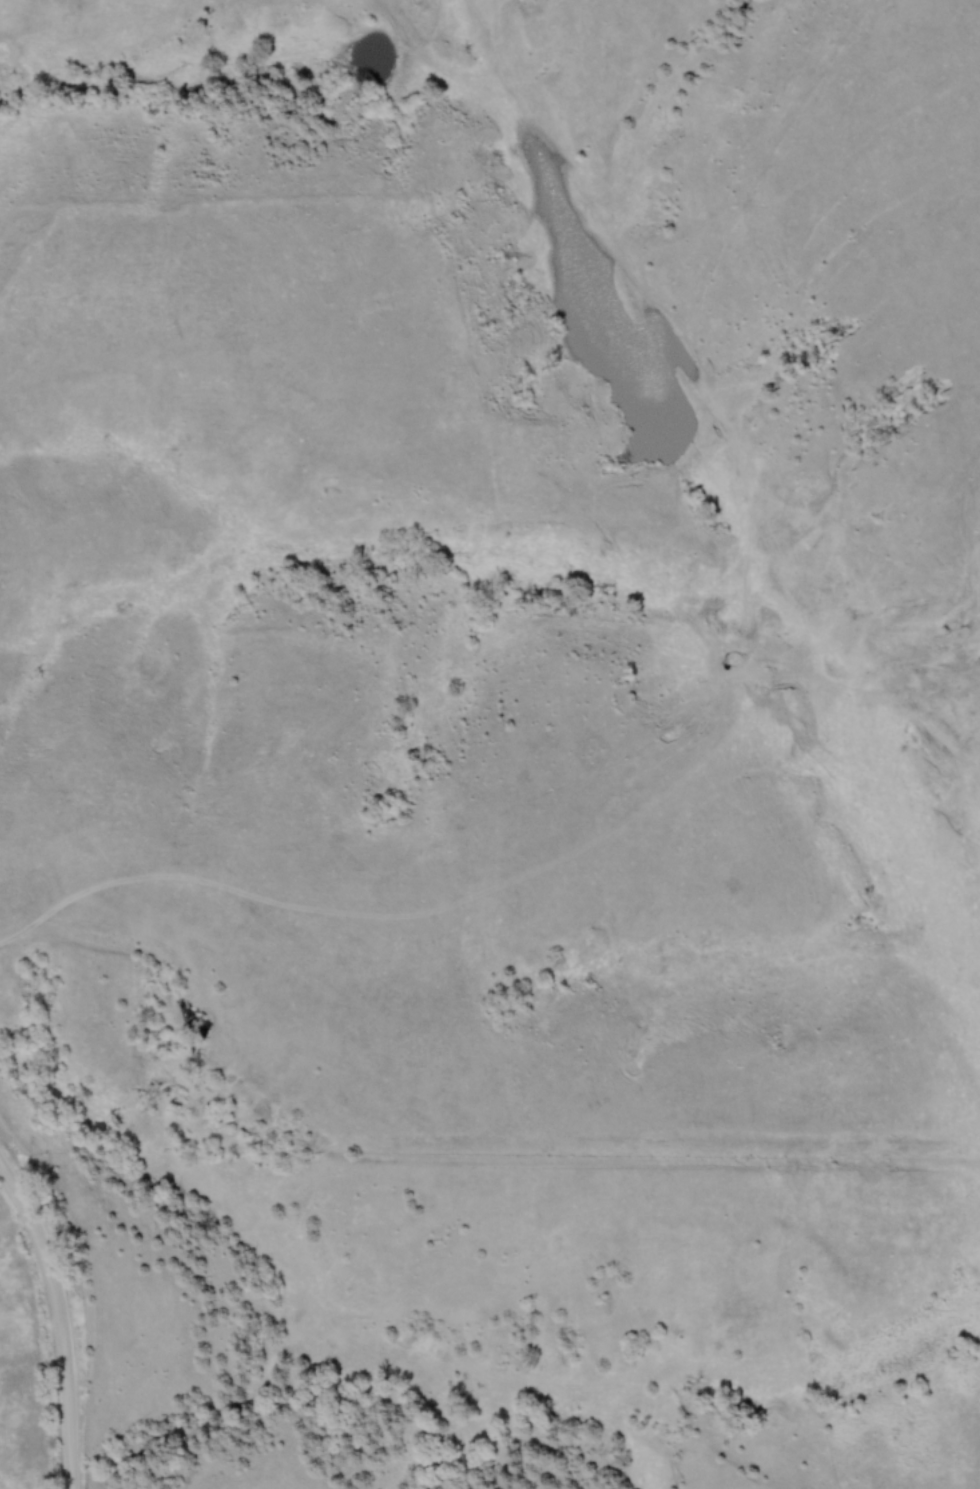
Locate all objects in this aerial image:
road: (63, 1317)

